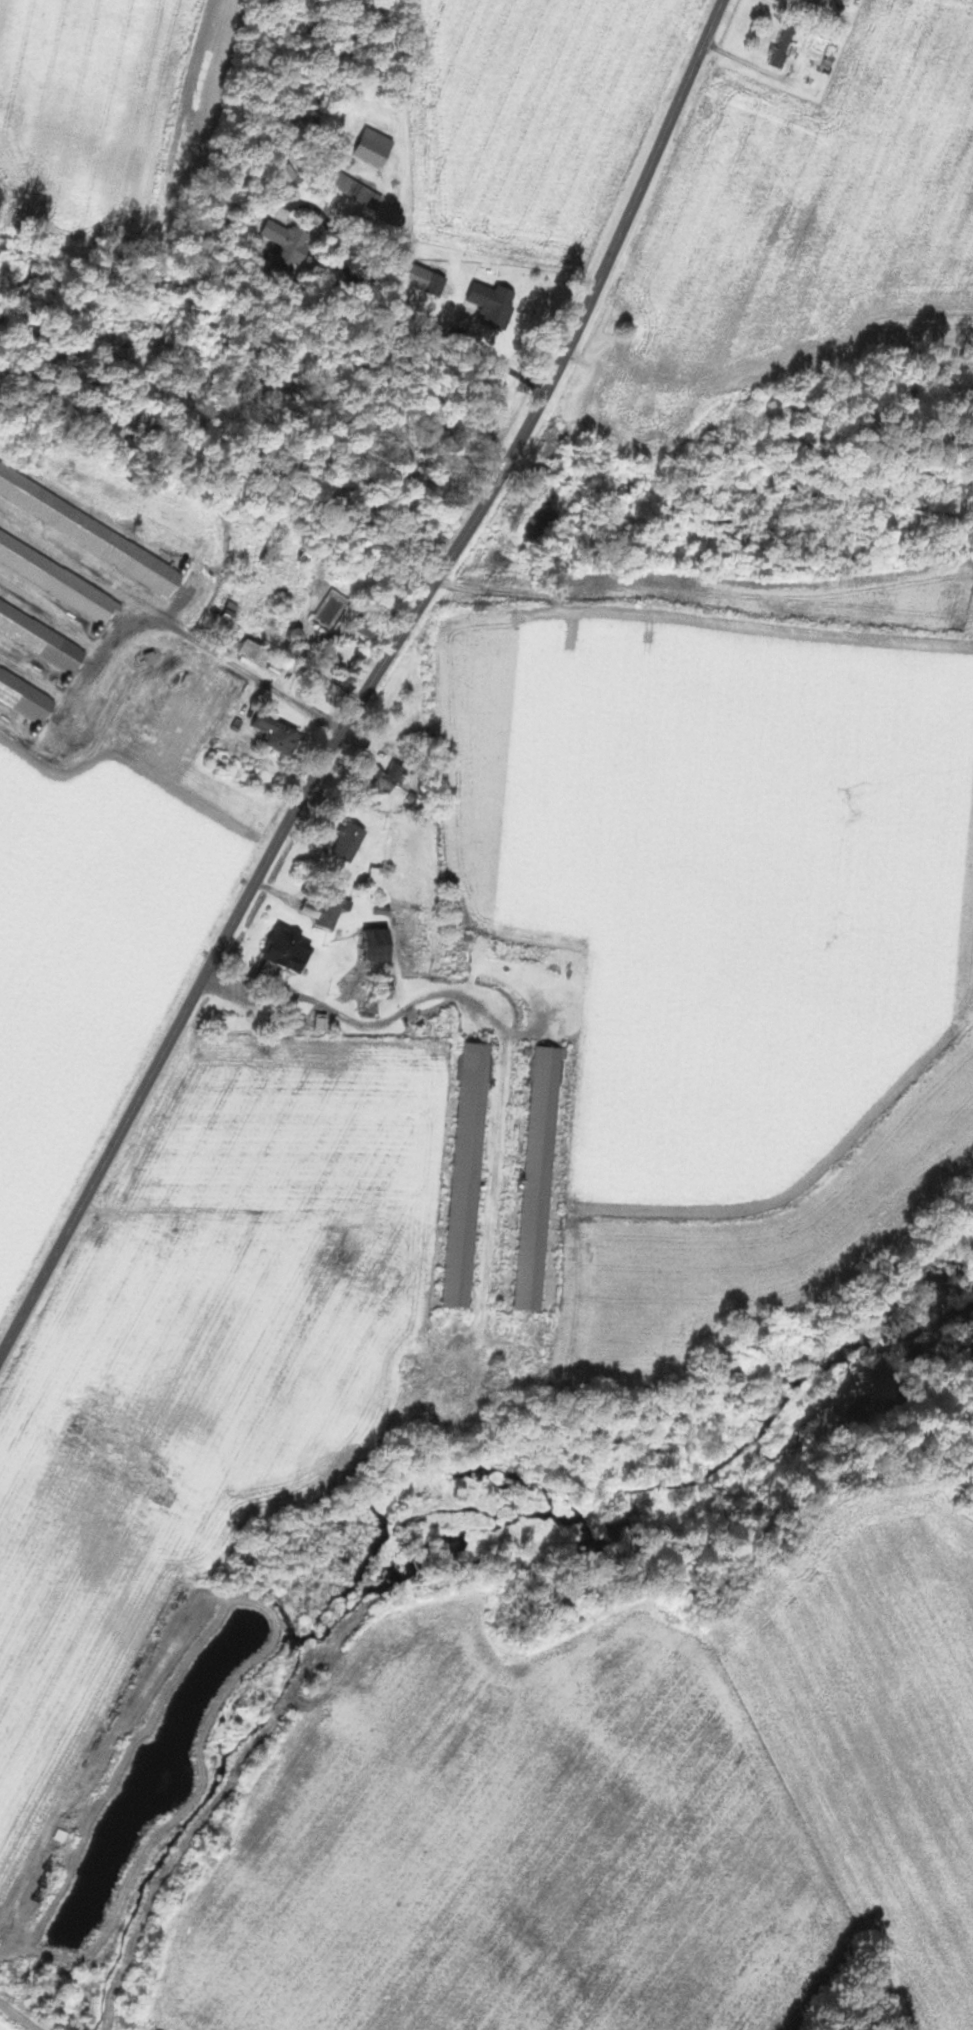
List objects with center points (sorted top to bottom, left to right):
building: (805, 1)
building: (785, 46)
building: (368, 90)
building: (377, 146)
building: (367, 194)
building: (290, 241)
building: (428, 279)
building: (496, 303)
building: (91, 529)
building: (319, 559)
building: (59, 575)
building: (232, 613)
building: (371, 629)
road: (193, 633)
building: (42, 635)
building: (298, 635)
building: (257, 651)
building: (279, 664)
road: (379, 685)
building: (27, 691)
building: (279, 734)
building: (387, 777)
building: (351, 841)
building: (377, 877)
building: (329, 910)
building: (382, 945)
building: (292, 949)
road: (381, 1012)
building: (424, 1020)
building: (469, 1174)
building: (540, 1178)
road: (29, 1228)

